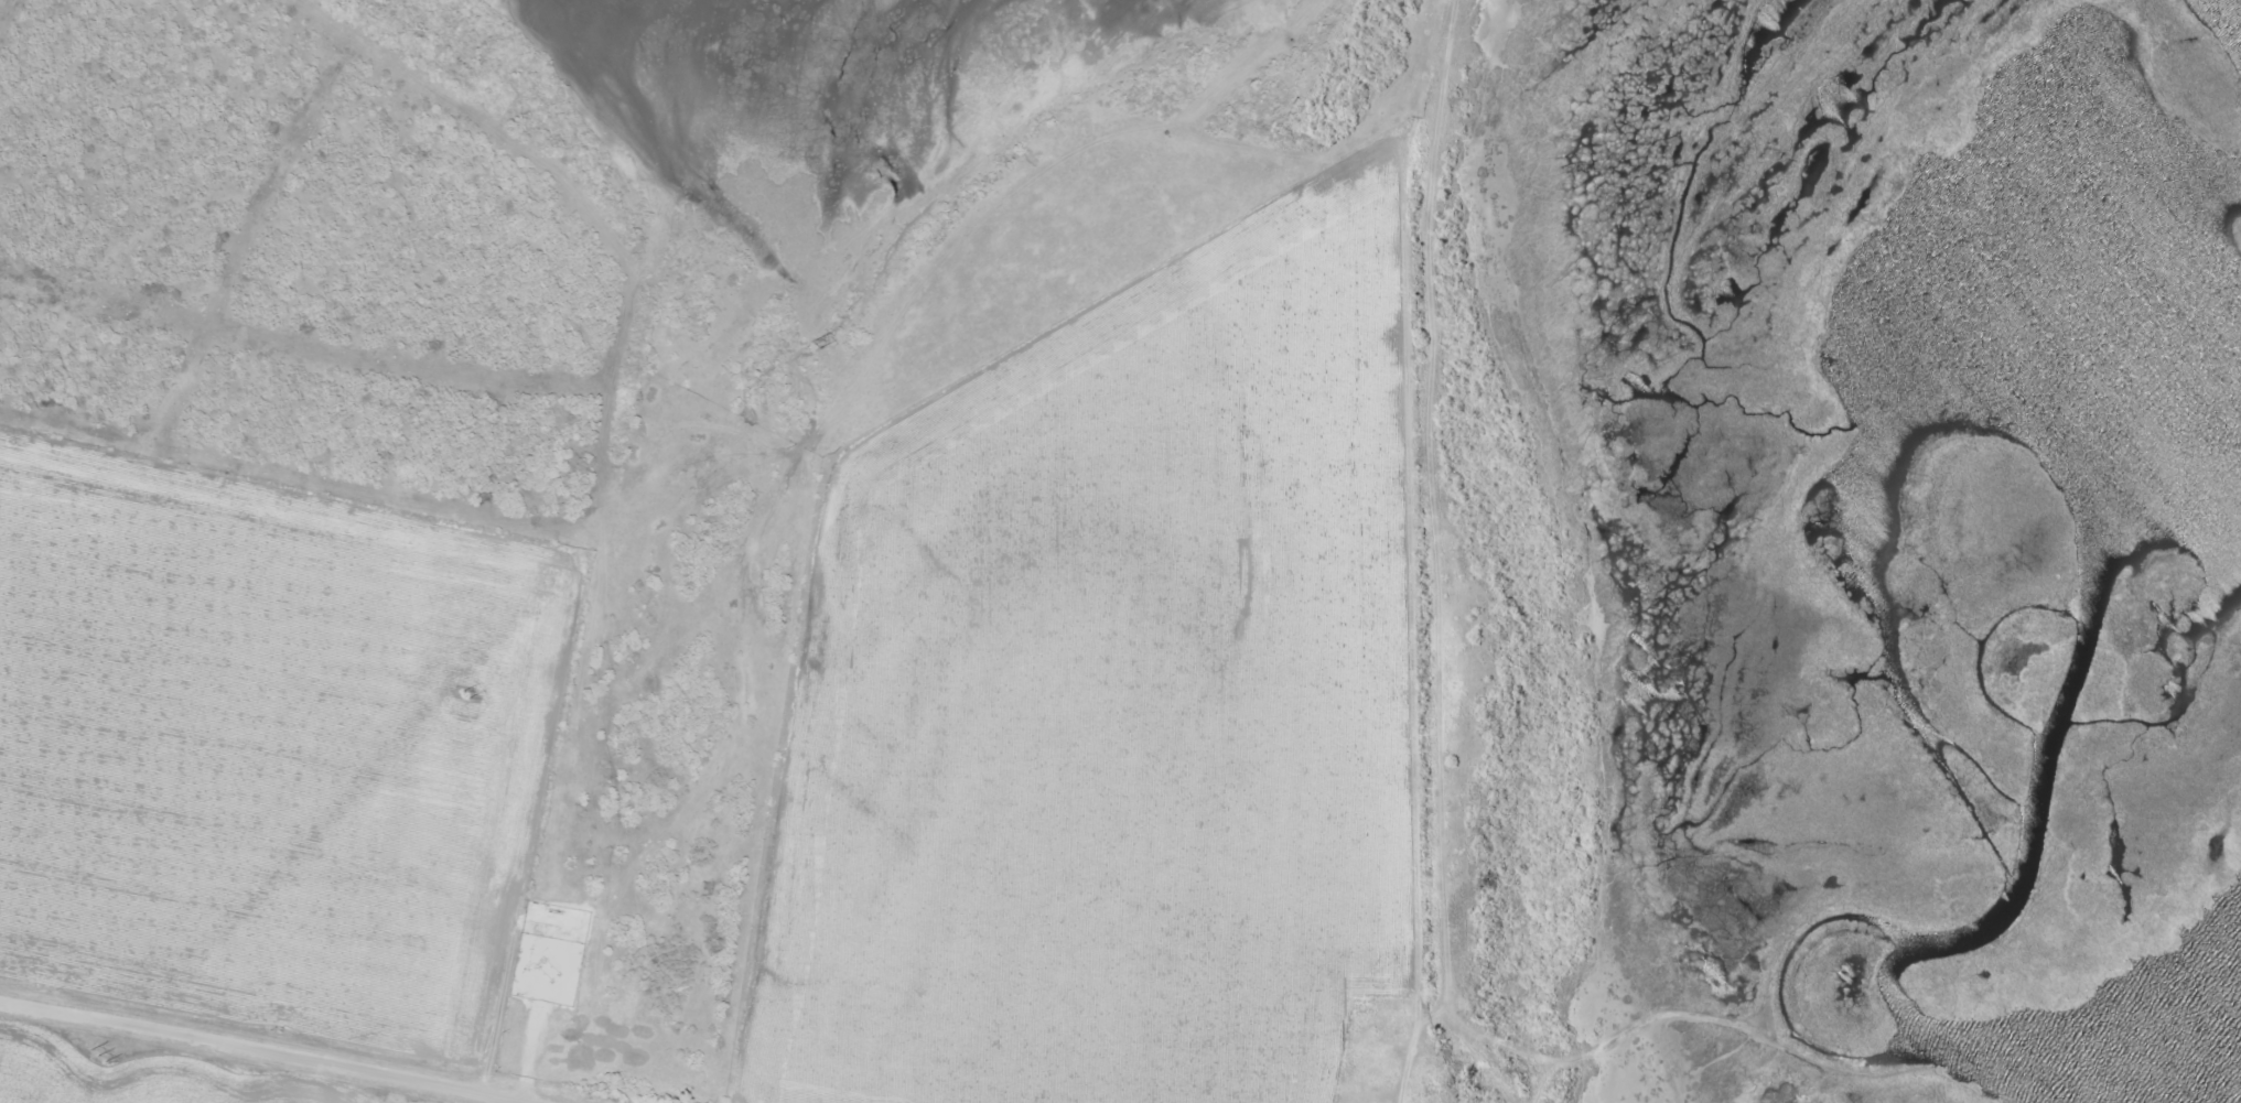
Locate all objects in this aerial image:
power tower: (817, 344)
road: (1415, 551)
power tower: (464, 694)
building: (1378, 1027)
road: (248, 1051)
power tower: (98, 1055)
building: (1368, 1078)

